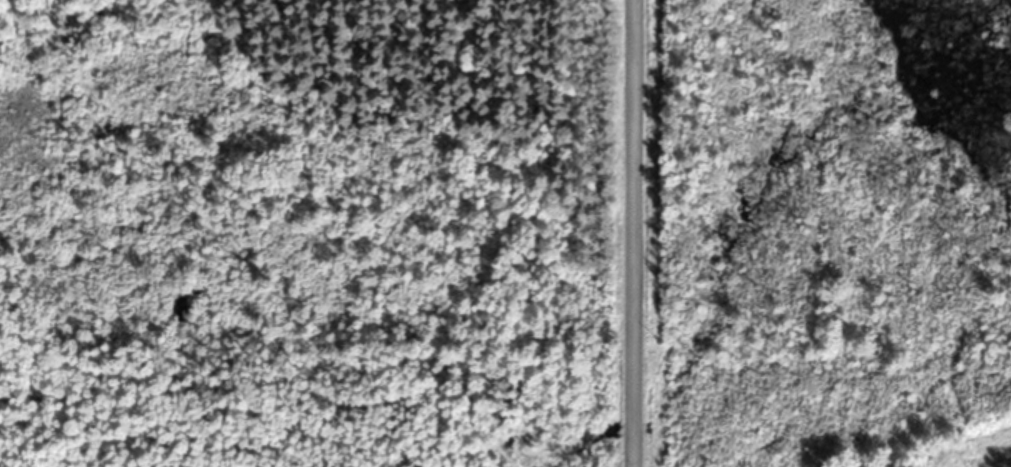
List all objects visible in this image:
road: (634, 233)

